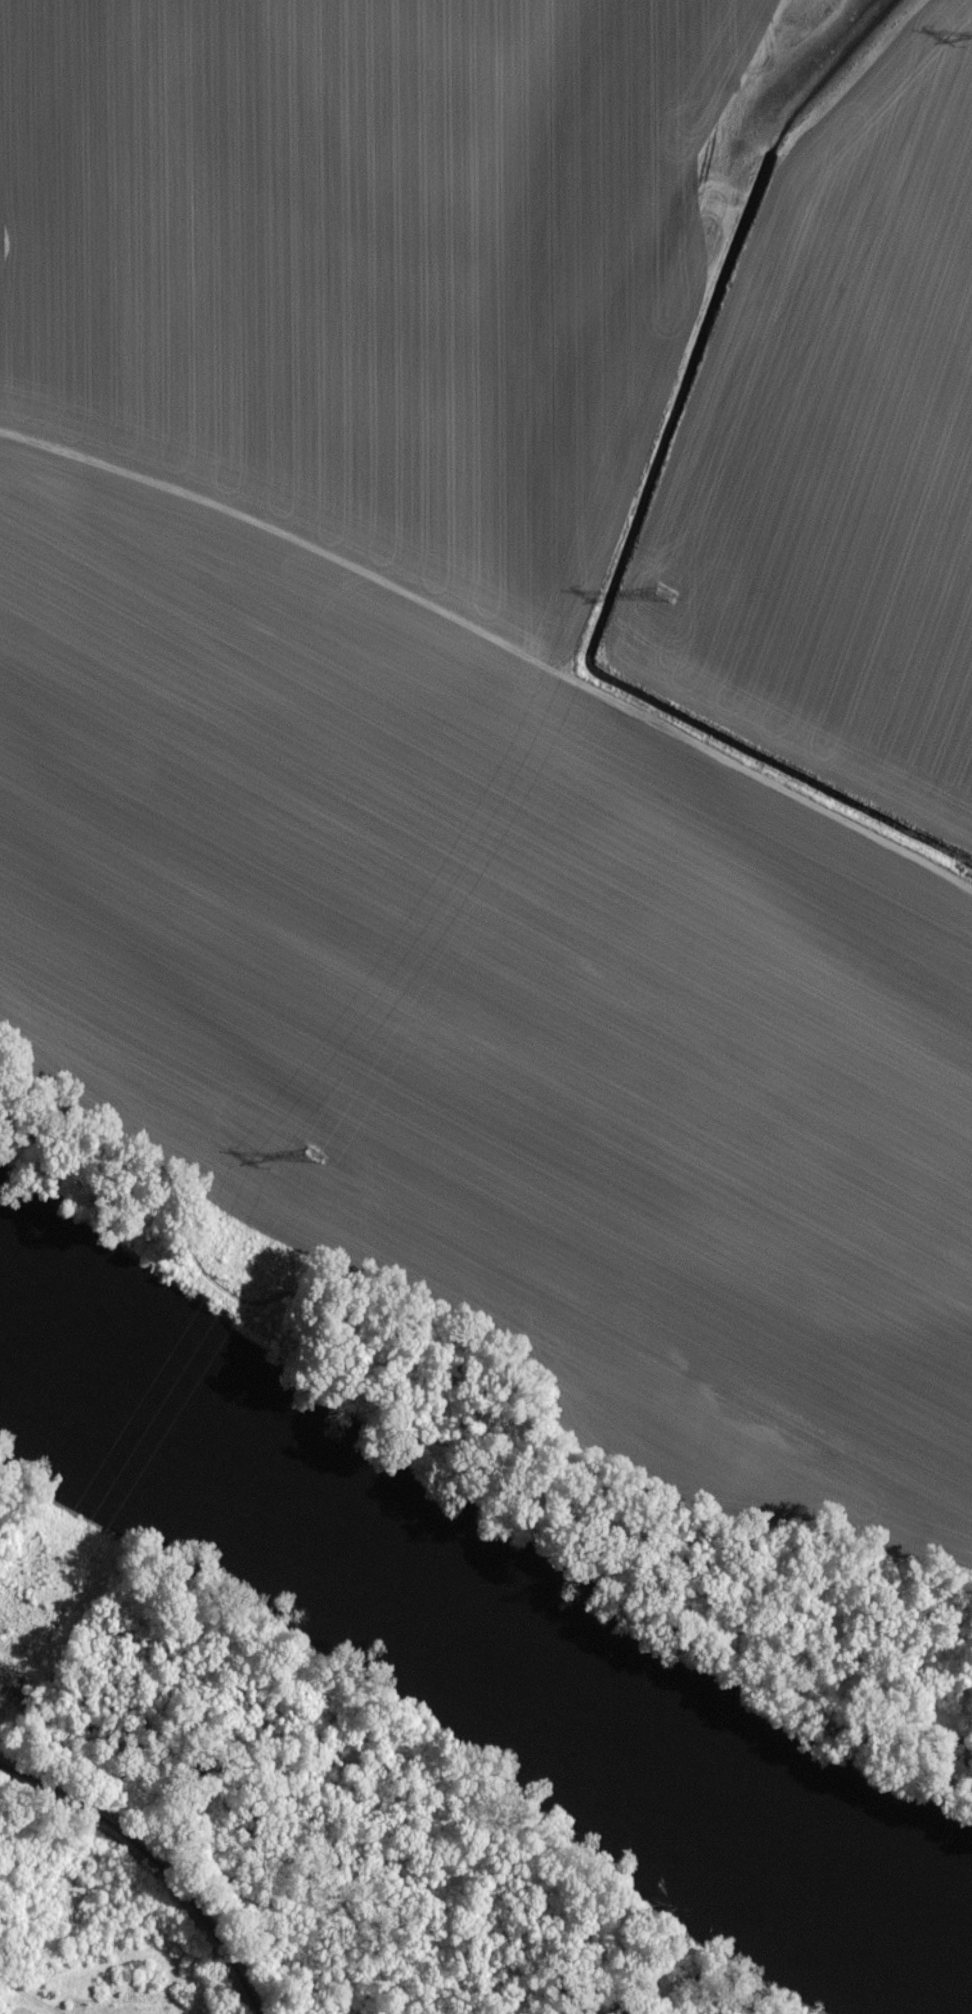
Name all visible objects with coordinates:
power tower: (662, 597)
road: (495, 643)
power tower: (313, 1161)
river: (478, 1629)
railway: (152, 1870)

